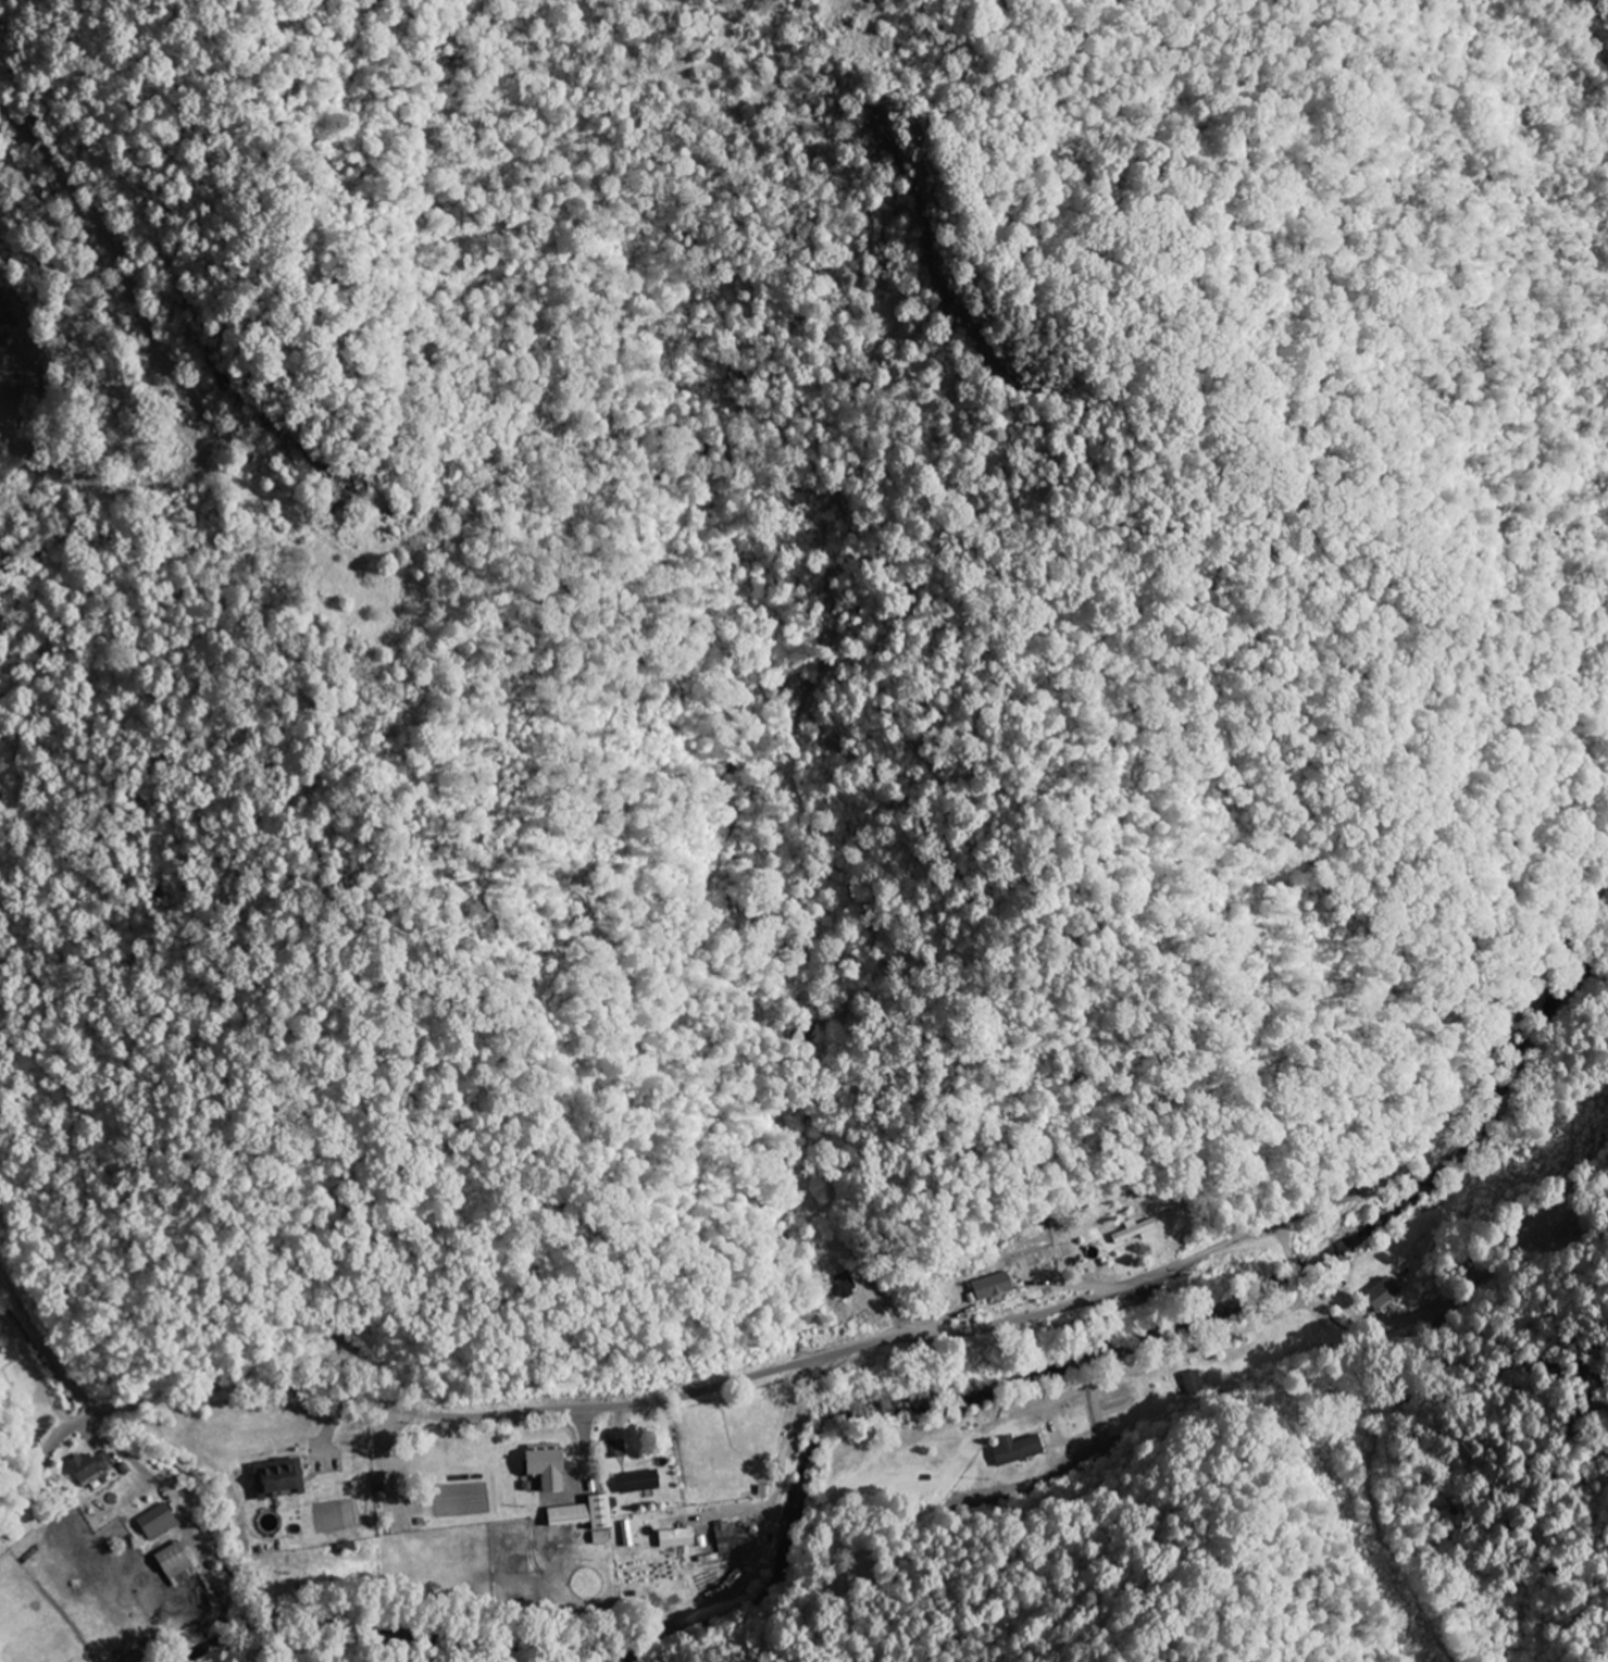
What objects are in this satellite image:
building: (1138, 1230)
building: (997, 1286)
building: (1386, 1292)
road: (856, 1347)
road: (42, 1348)
road: (1374, 1441)
building: (619, 1449)
building: (1021, 1449)
building: (94, 1466)
building: (554, 1469)
building: (283, 1476)
building: (385, 1482)
building: (641, 1482)
building: (591, 1516)
building: (161, 1522)
building: (680, 1538)
building: (179, 1563)

